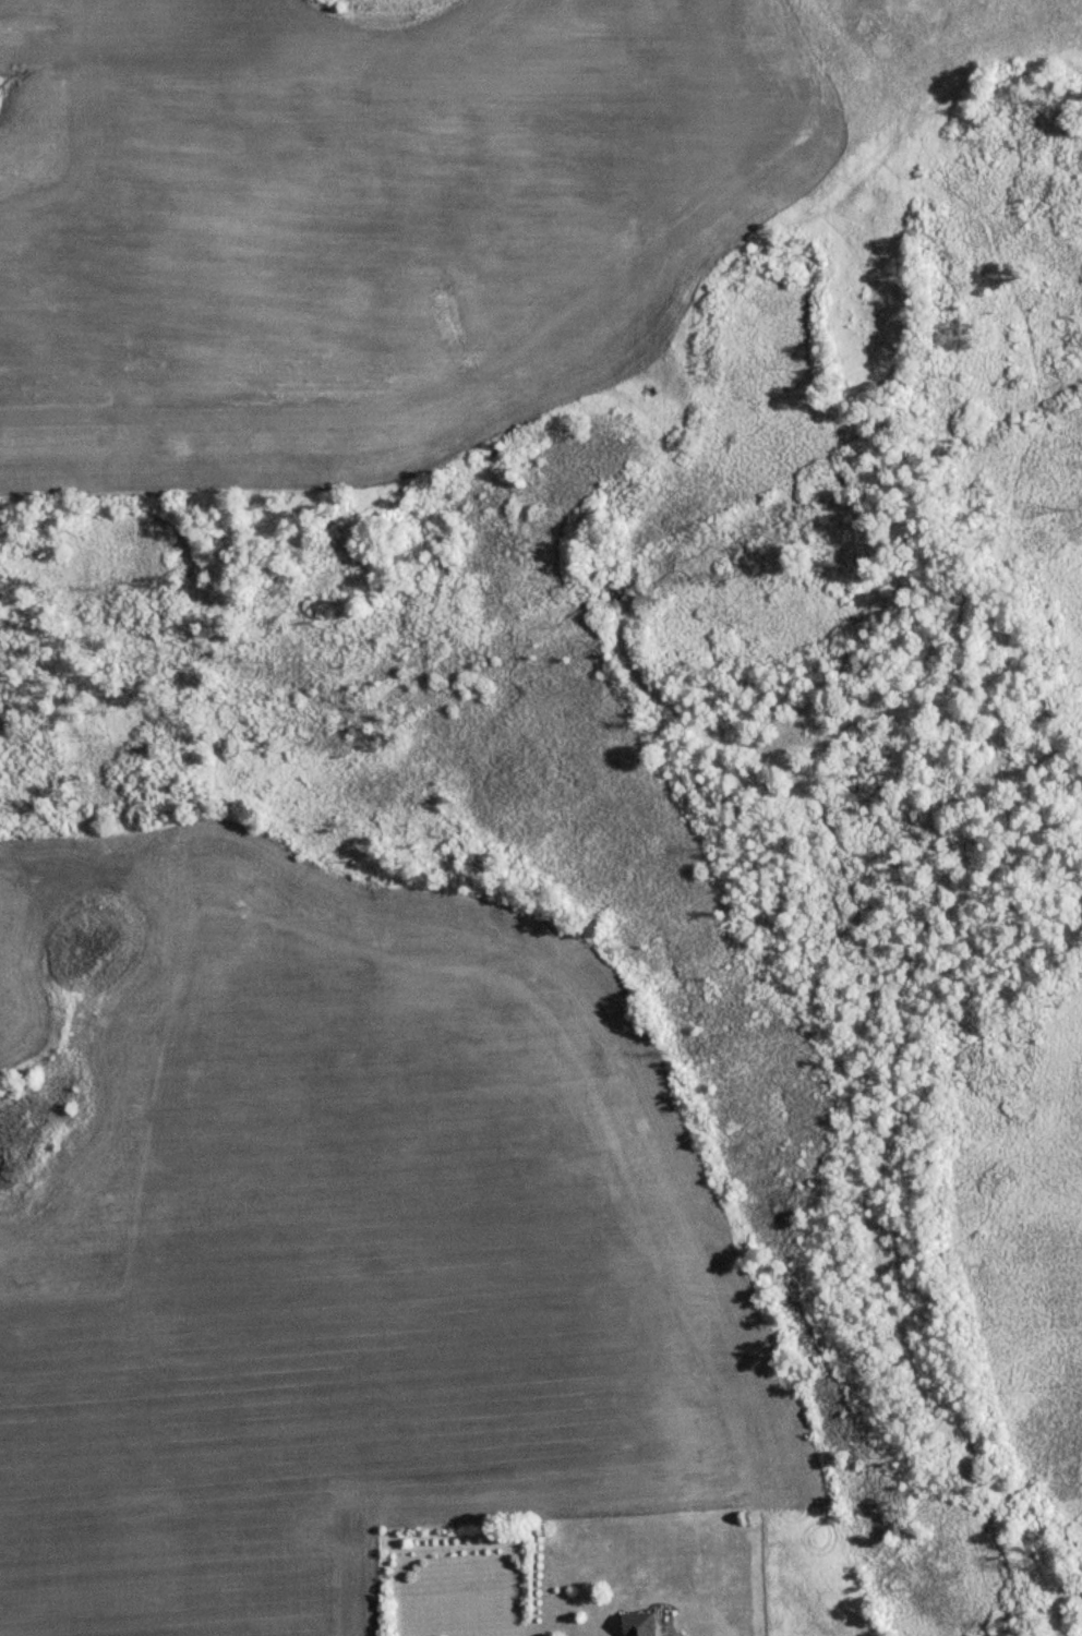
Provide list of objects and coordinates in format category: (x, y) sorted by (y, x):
building: (641, 1624)

